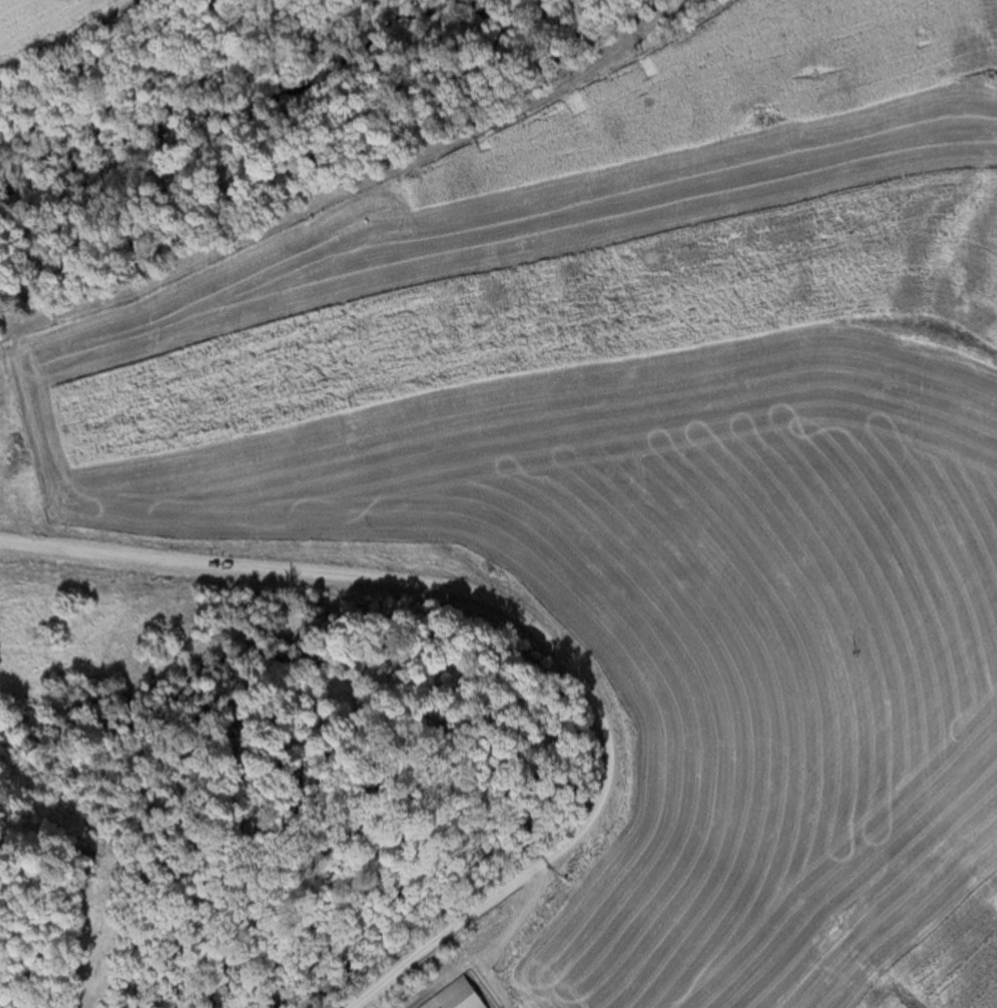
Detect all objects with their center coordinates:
road: (521, 630)
building: (459, 996)

